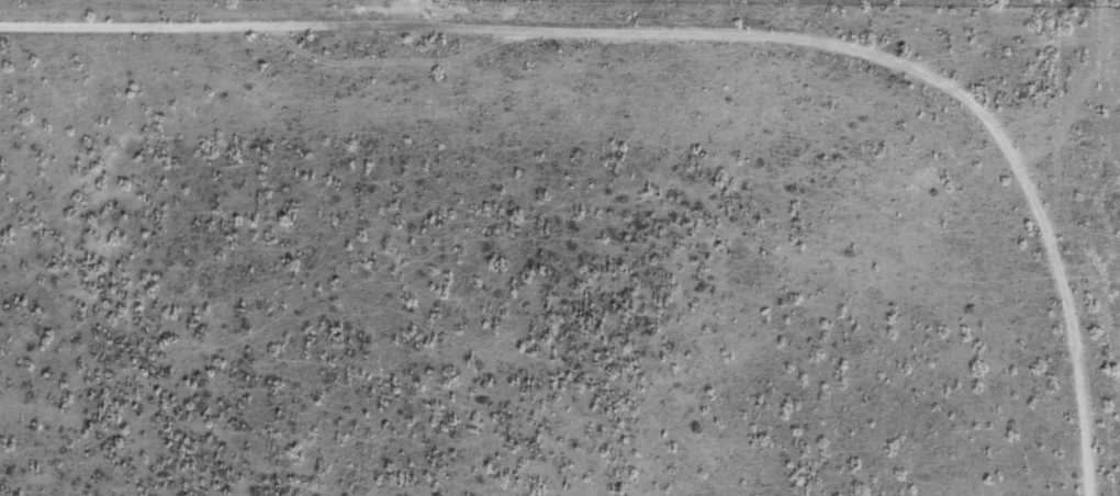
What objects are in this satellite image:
road: (694, 89)

